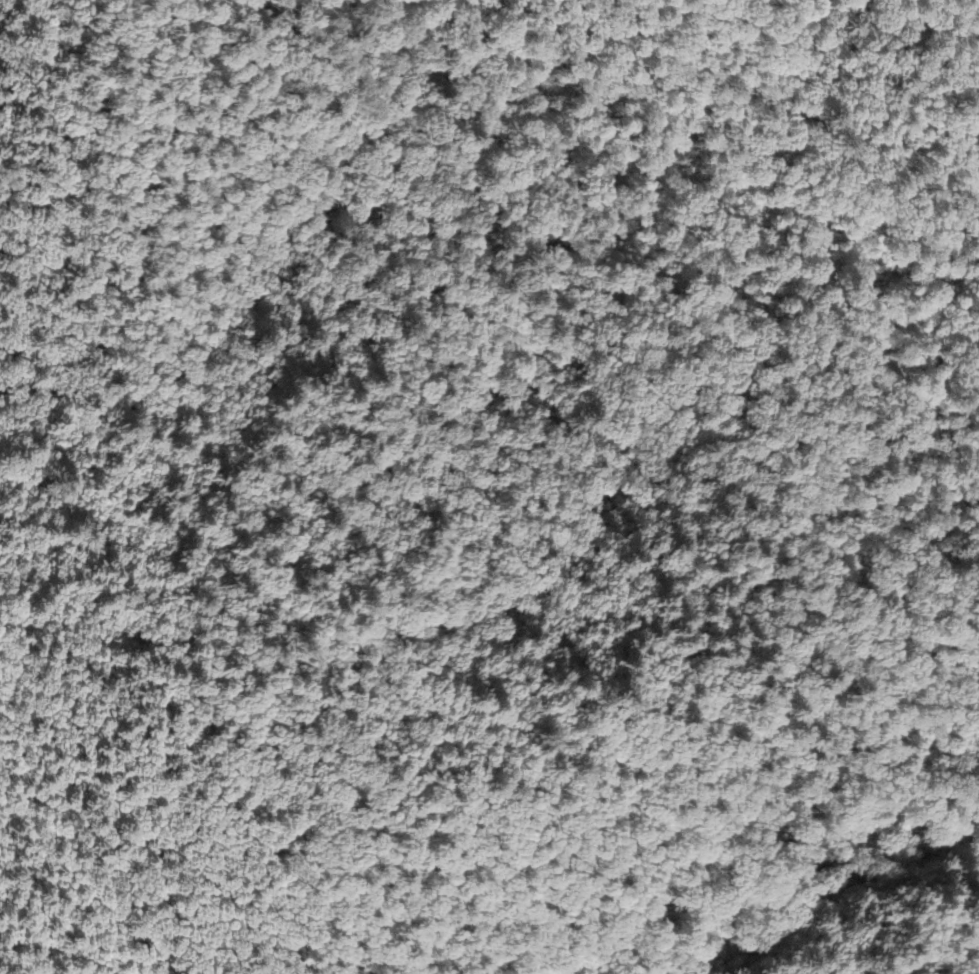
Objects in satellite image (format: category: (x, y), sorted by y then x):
road: (283, 496)

